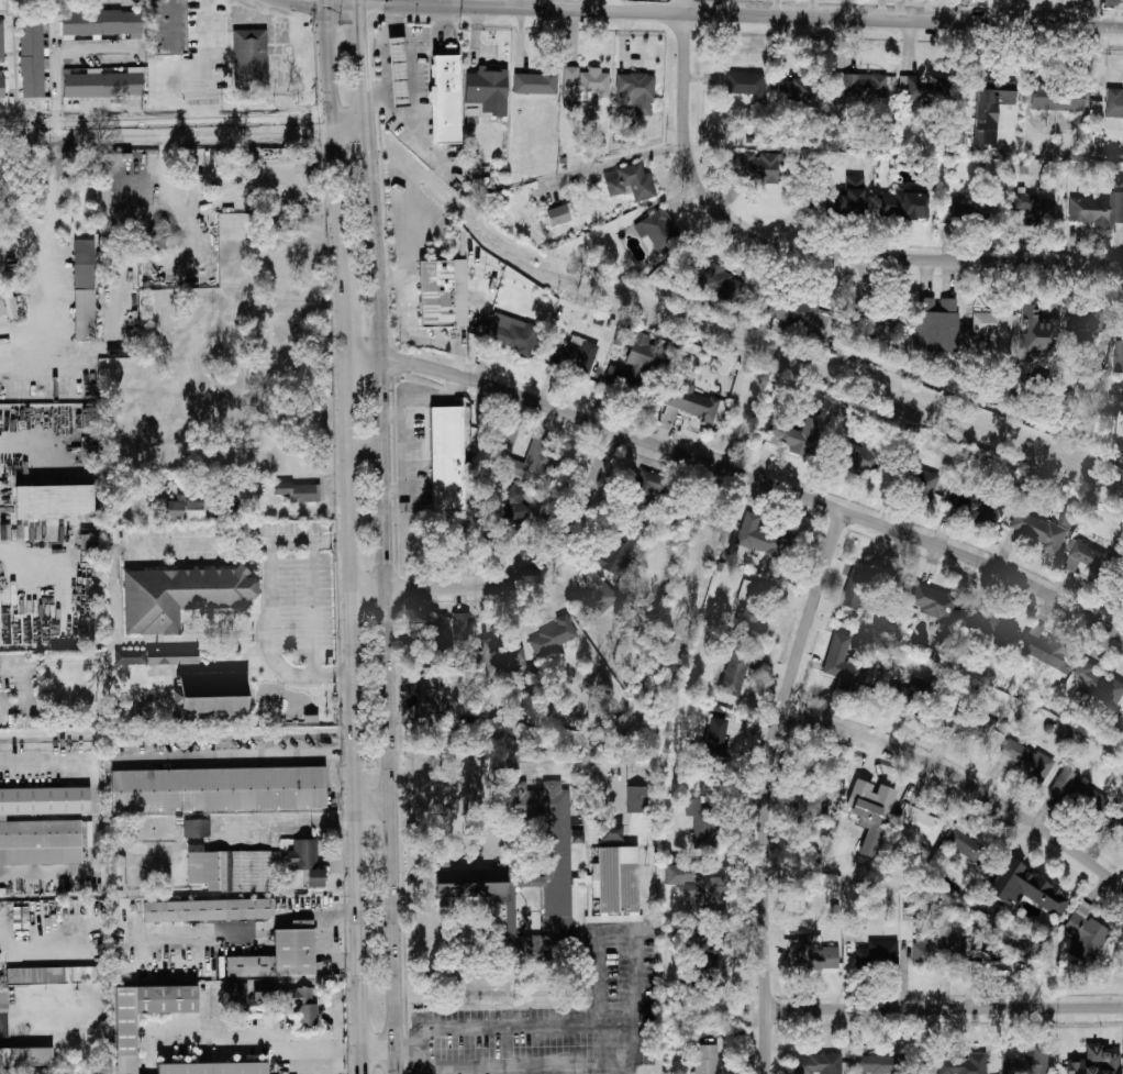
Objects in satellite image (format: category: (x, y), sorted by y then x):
road: (318, 1)
road: (326, 1)
road: (359, 1)
road: (415, 2)
building: (1109, 2)
traffic signals: (327, 3)
road: (344, 3)
traffic signals: (360, 3)
road: (378, 3)
road: (405, 4)
road: (523, 4)
road: (683, 7)
road: (396, 14)
road: (1089, 14)
road: (769, 16)
building: (102, 23)
road: (360, 25)
building: (169, 27)
road: (402, 29)
road: (437, 29)
road: (381, 35)
building: (2, 42)
road: (369, 48)
road: (58, 54)
building: (32, 57)
building: (251, 60)
road: (207, 63)
building: (398, 71)
gas station: (398, 71)
road: (383, 77)
building: (535, 82)
building: (2, 85)
building: (103, 85)
building: (583, 85)
building: (745, 85)
building: (837, 85)
building: (865, 86)
building: (926, 89)
building: (487, 90)
building: (637, 91)
building: (798, 91)
road: (413, 95)
building: (1059, 98)
building: (445, 100)
building: (991, 101)
building: (1114, 108)
road: (182, 126)
building: (981, 136)
building: (756, 168)
building: (630, 181)
building: (855, 190)
building: (904, 204)
building: (1034, 206)
building: (1099, 208)
building: (957, 212)
building: (557, 215)
building: (659, 232)
road: (411, 235)
road: (49, 254)
road: (811, 256)
road: (388, 279)
building: (722, 285)
building: (85, 290)
building: (440, 294)
road: (401, 297)
building: (8, 306)
building: (800, 313)
road: (387, 322)
building: (935, 324)
building: (1088, 324)
building: (997, 325)
building: (512, 333)
building: (1037, 336)
road: (437, 343)
building: (1119, 355)
building: (575, 358)
building: (633, 363)
building: (989, 391)
building: (692, 402)
building: (670, 414)
road: (392, 416)
road: (405, 423)
building: (793, 434)
building: (508, 435)
road: (26, 444)
building: (446, 458)
building: (863, 458)
road: (741, 474)
building: (922, 484)
building: (647, 489)
building: (299, 491)
building: (54, 502)
building: (975, 505)
building: (516, 508)
building: (186, 510)
building: (1044, 529)
road: (344, 538)
building: (764, 539)
road: (196, 544)
building: (619, 551)
road: (26, 552)
building: (1090, 558)
road: (381, 561)
road: (523, 577)
building: (856, 587)
building: (180, 596)
building: (596, 598)
road: (268, 602)
building: (933, 602)
building: (754, 606)
road: (313, 609)
building: (460, 627)
building: (989, 628)
building: (438, 635)
building: (554, 636)
road: (113, 643)
building: (1046, 651)
building: (173, 656)
building: (130, 657)
building: (501, 658)
building: (843, 665)
building: (736, 671)
building: (1100, 684)
road: (20, 689)
building: (909, 695)
building: (211, 698)
building: (719, 712)
building: (965, 720)
building: (716, 741)
road: (238, 756)
building: (1025, 759)
road: (961, 778)
road: (770, 787)
building: (218, 789)
building: (1079, 794)
building: (636, 800)
building: (807, 805)
building: (1119, 818)
road: (369, 820)
road: (93, 822)
building: (701, 823)
building: (920, 824)
building: (42, 826)
building: (963, 844)
building: (307, 862)
building: (230, 870)
building: (119, 871)
building: (545, 882)
building: (470, 884)
building: (616, 885)
building: (698, 887)
building: (1026, 889)
building: (208, 910)
building: (21, 918)
road: (616, 929)
building: (1086, 935)
building: (1019, 945)
building: (937, 949)
building: (700, 954)
building: (280, 955)
building: (813, 955)
building: (878, 955)
building: (51, 975)
building: (3, 1000)
building: (290, 1000)
road: (945, 1009)
building: (126, 1043)
road: (634, 1044)
road: (301, 1053)
road: (375, 1053)
road: (407, 1053)
building: (25, 1058)
building: (705, 1060)
building: (1029, 1062)
building: (1096, 1062)
building: (818, 1064)
building: (877, 1064)
building: (964, 1065)
building: (213, 1069)

